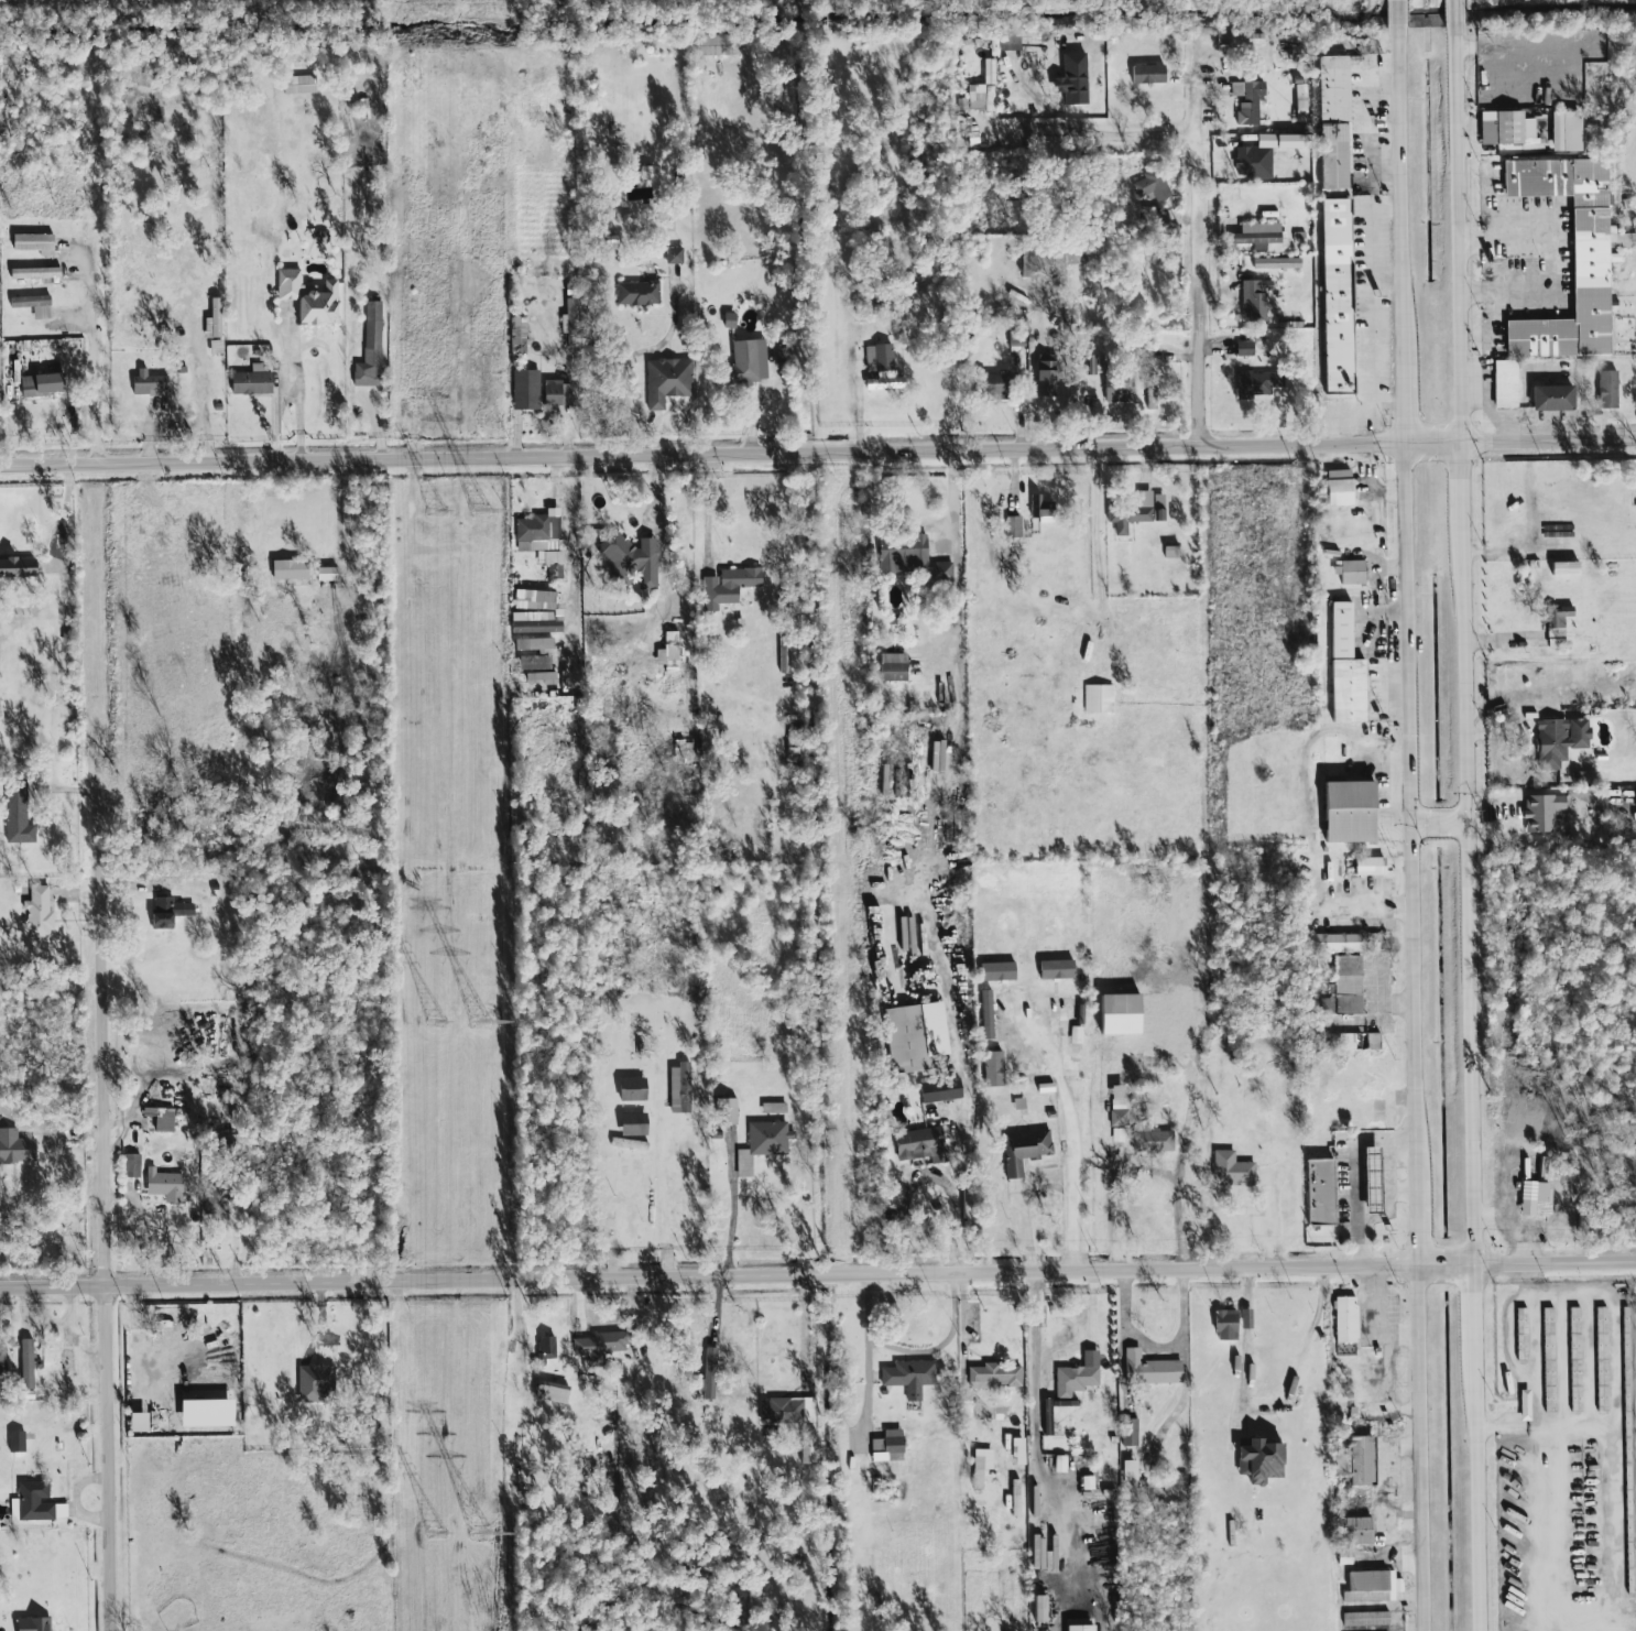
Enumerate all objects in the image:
building: (1418, 21)
building: (708, 45)
building: (1146, 74)
building: (1072, 78)
building: (297, 85)
building: (979, 91)
building: (1246, 100)
building: (1332, 122)
building: (1505, 128)
building: (1564, 131)
road: (1110, 133)
building: (1251, 162)
building: (644, 172)
road: (1399, 174)
building: (1150, 185)
building: (1148, 214)
road: (1458, 220)
building: (1257, 236)
building: (31, 242)
road: (1206, 242)
building: (672, 254)
road: (1365, 255)
building: (1589, 259)
building: (1044, 260)
building: (1275, 263)
road: (1556, 263)
building: (32, 273)
building: (635, 293)
building: (1333, 295)
building: (306, 297)
building: (1252, 300)
building: (31, 305)
building: (214, 317)
building: (727, 320)
building: (515, 335)
building: (1014, 339)
building: (369, 348)
building: (1243, 348)
building: (746, 361)
building: (880, 368)
road: (95, 369)
building: (1044, 376)
building: (249, 381)
building: (665, 381)
road: (294, 382)
building: (146, 383)
building: (1504, 383)
building: (39, 384)
building: (988, 384)
building: (1255, 384)
building: (1605, 389)
building: (524, 390)
building: (1116, 391)
building: (556, 393)
road: (1400, 395)
building: (1550, 398)
road: (274, 420)
road: (817, 452)
building: (1337, 487)
road: (1460, 491)
building: (1157, 507)
power tower: (435, 511)
power tower: (482, 512)
road: (707, 512)
building: (1130, 513)
road: (340, 521)
building: (1011, 528)
building: (536, 534)
road: (659, 544)
building: (909, 558)
building: (630, 561)
road: (572, 563)
building: (17, 567)
building: (286, 569)
building: (1349, 572)
building: (727, 586)
building: (534, 599)
road: (97, 623)
building: (1555, 624)
building: (535, 644)
building: (666, 651)
building: (892, 667)
building: (536, 670)
building: (1343, 670)
building: (1097, 698)
building: (1558, 740)
building: (681, 751)
building: (1635, 798)
road: (1407, 805)
building: (1351, 813)
building: (1541, 813)
building: (15, 817)
road: (1424, 818)
building: (1367, 867)
road: (1466, 901)
building: (36, 913)
building: (166, 913)
building: (1340, 943)
building: (1054, 969)
building: (995, 971)
building: (1342, 987)
road: (1381, 1001)
building: (985, 1014)
power tower: (436, 1022)
power tower: (480, 1022)
building: (904, 1040)
building: (1346, 1042)
building: (991, 1069)
building: (678, 1088)
building: (630, 1089)
building: (938, 1090)
building: (1116, 1106)
building: (772, 1108)
building: (726, 1111)
building: (162, 1120)
building: (631, 1124)
road: (1071, 1131)
building: (1116, 1135)
building: (1152, 1142)
building: (917, 1143)
building: (757, 1144)
building: (13, 1146)
building: (1023, 1150)
road: (1401, 1163)
building: (130, 1165)
building: (1230, 1170)
road: (1138, 1171)
road: (1356, 1175)
road: (929, 1176)
building: (1370, 1179)
road: (1389, 1179)
building: (165, 1184)
building: (1319, 1193)
building: (1530, 1198)
building: (214, 1199)
road: (109, 1206)
road: (731, 1217)
road: (1415, 1217)
road: (818, 1274)
road: (1472, 1312)
building: (1244, 1318)
building: (1344, 1320)
building: (1224, 1325)
road: (805, 1331)
building: (1573, 1333)
building: (1520, 1334)
building: (1547, 1334)
building: (1600, 1334)
building: (598, 1346)
road: (1158, 1347)
road: (1302, 1348)
building: (544, 1349)
road: (908, 1349)
road: (1385, 1351)
building: (178, 1361)
building: (24, 1364)
building: (1147, 1371)
building: (707, 1376)
building: (993, 1376)
road: (1535, 1376)
building: (907, 1377)
building: (317, 1381)
building: (1072, 1381)
road: (1036, 1390)
building: (549, 1392)
building: (785, 1411)
building: (134, 1423)
building: (1127, 1433)
building: (13, 1442)
building: (886, 1447)
road: (1418, 1447)
building: (805, 1451)
building: (1016, 1451)
building: (1256, 1460)
building: (1360, 1460)
building: (1340, 1461)
building: (1059, 1465)
building: (1127, 1470)
building: (975, 1472)
building: (1175, 1481)
road: (1475, 1494)
building: (36, 1503)
building: (1356, 1531)
power tower: (436, 1533)
power tower: (481, 1537)
building: (1373, 1583)
building: (1038, 1608)
building: (1364, 1619)
building: (31, 1623)
building: (1078, 1628)

